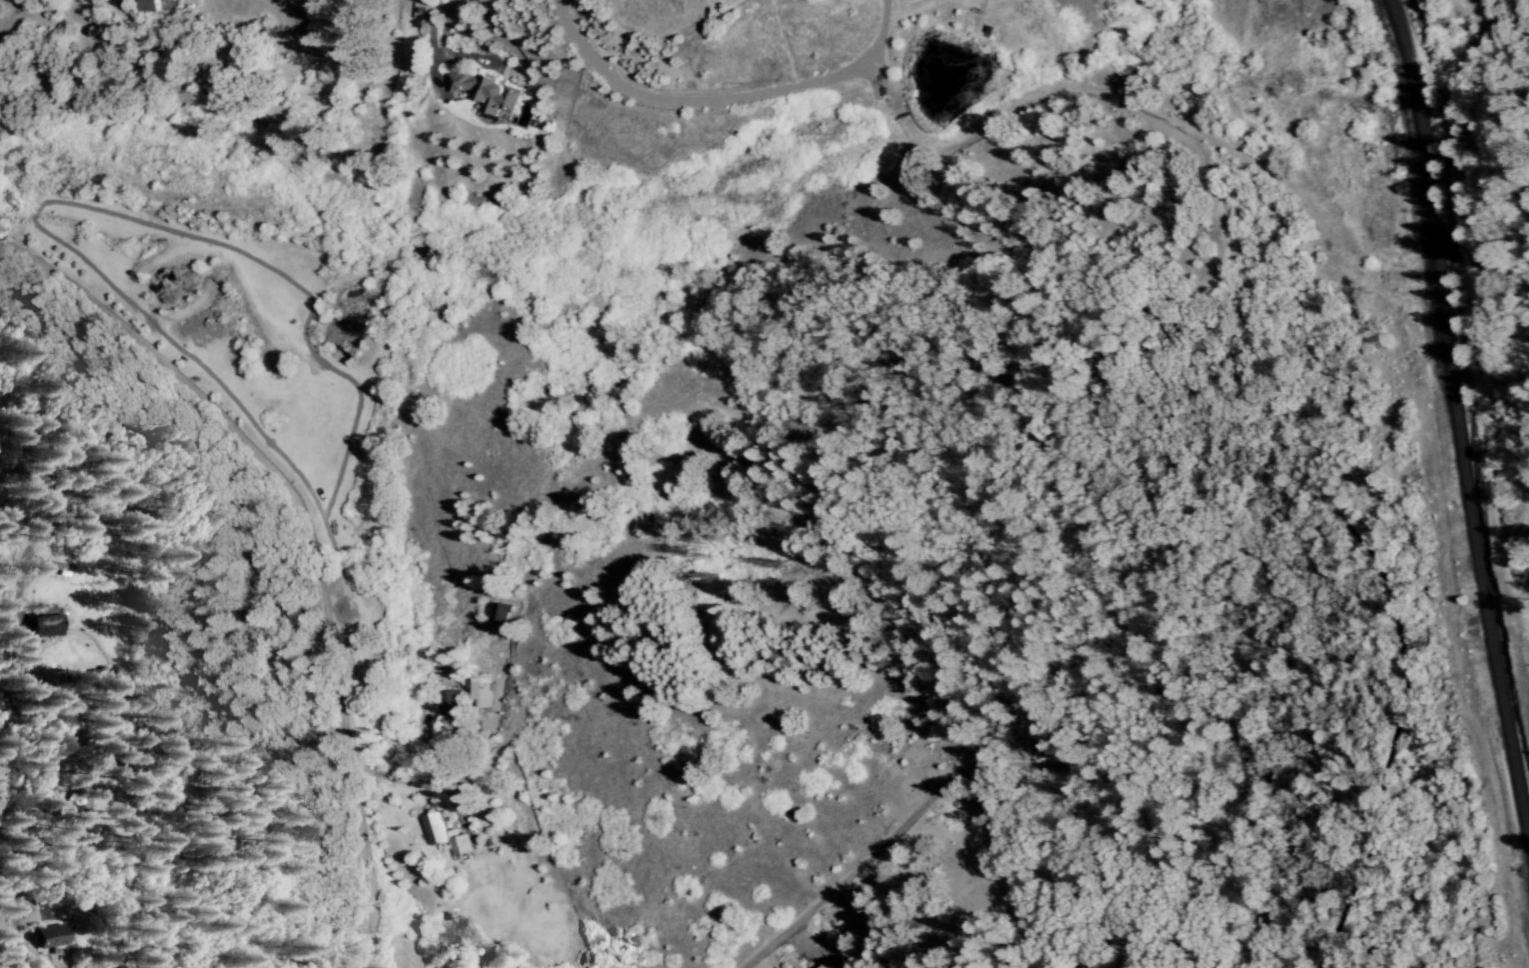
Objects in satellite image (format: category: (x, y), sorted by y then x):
building: (149, 6)
road: (440, 17)
road: (484, 21)
building: (484, 93)
road: (709, 99)
railway: (1462, 420)
road: (305, 540)
building: (479, 693)
building: (448, 706)
road: (1016, 763)
road: (434, 781)
building: (433, 829)
building: (459, 847)
building: (45, 937)
building: (825, 965)

